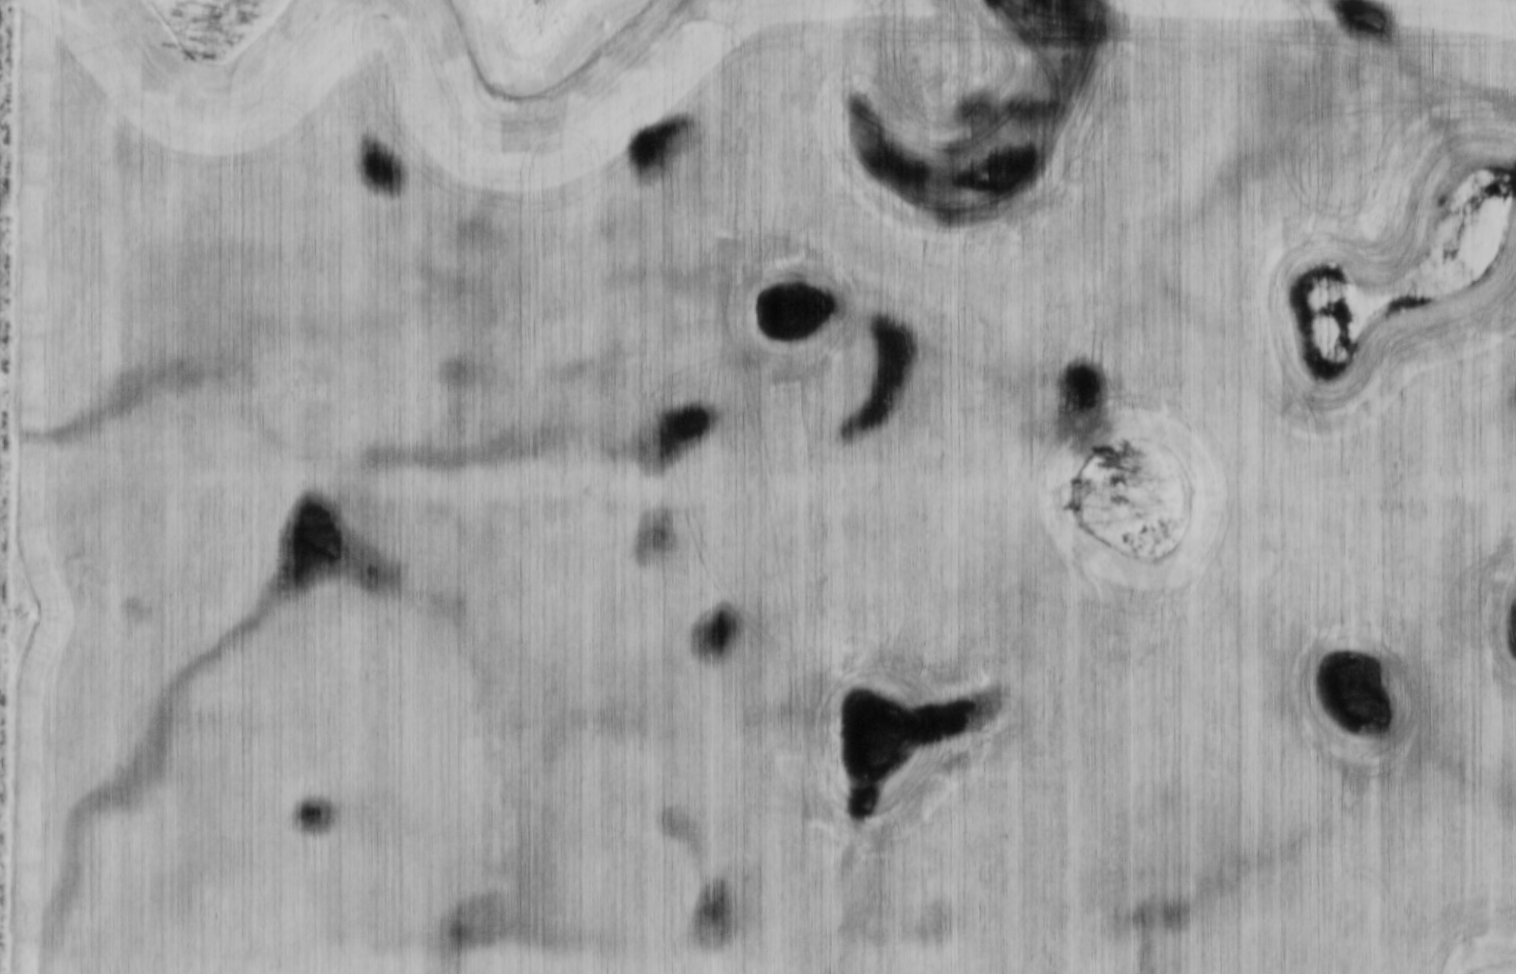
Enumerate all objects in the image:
park: (1495, 973)

